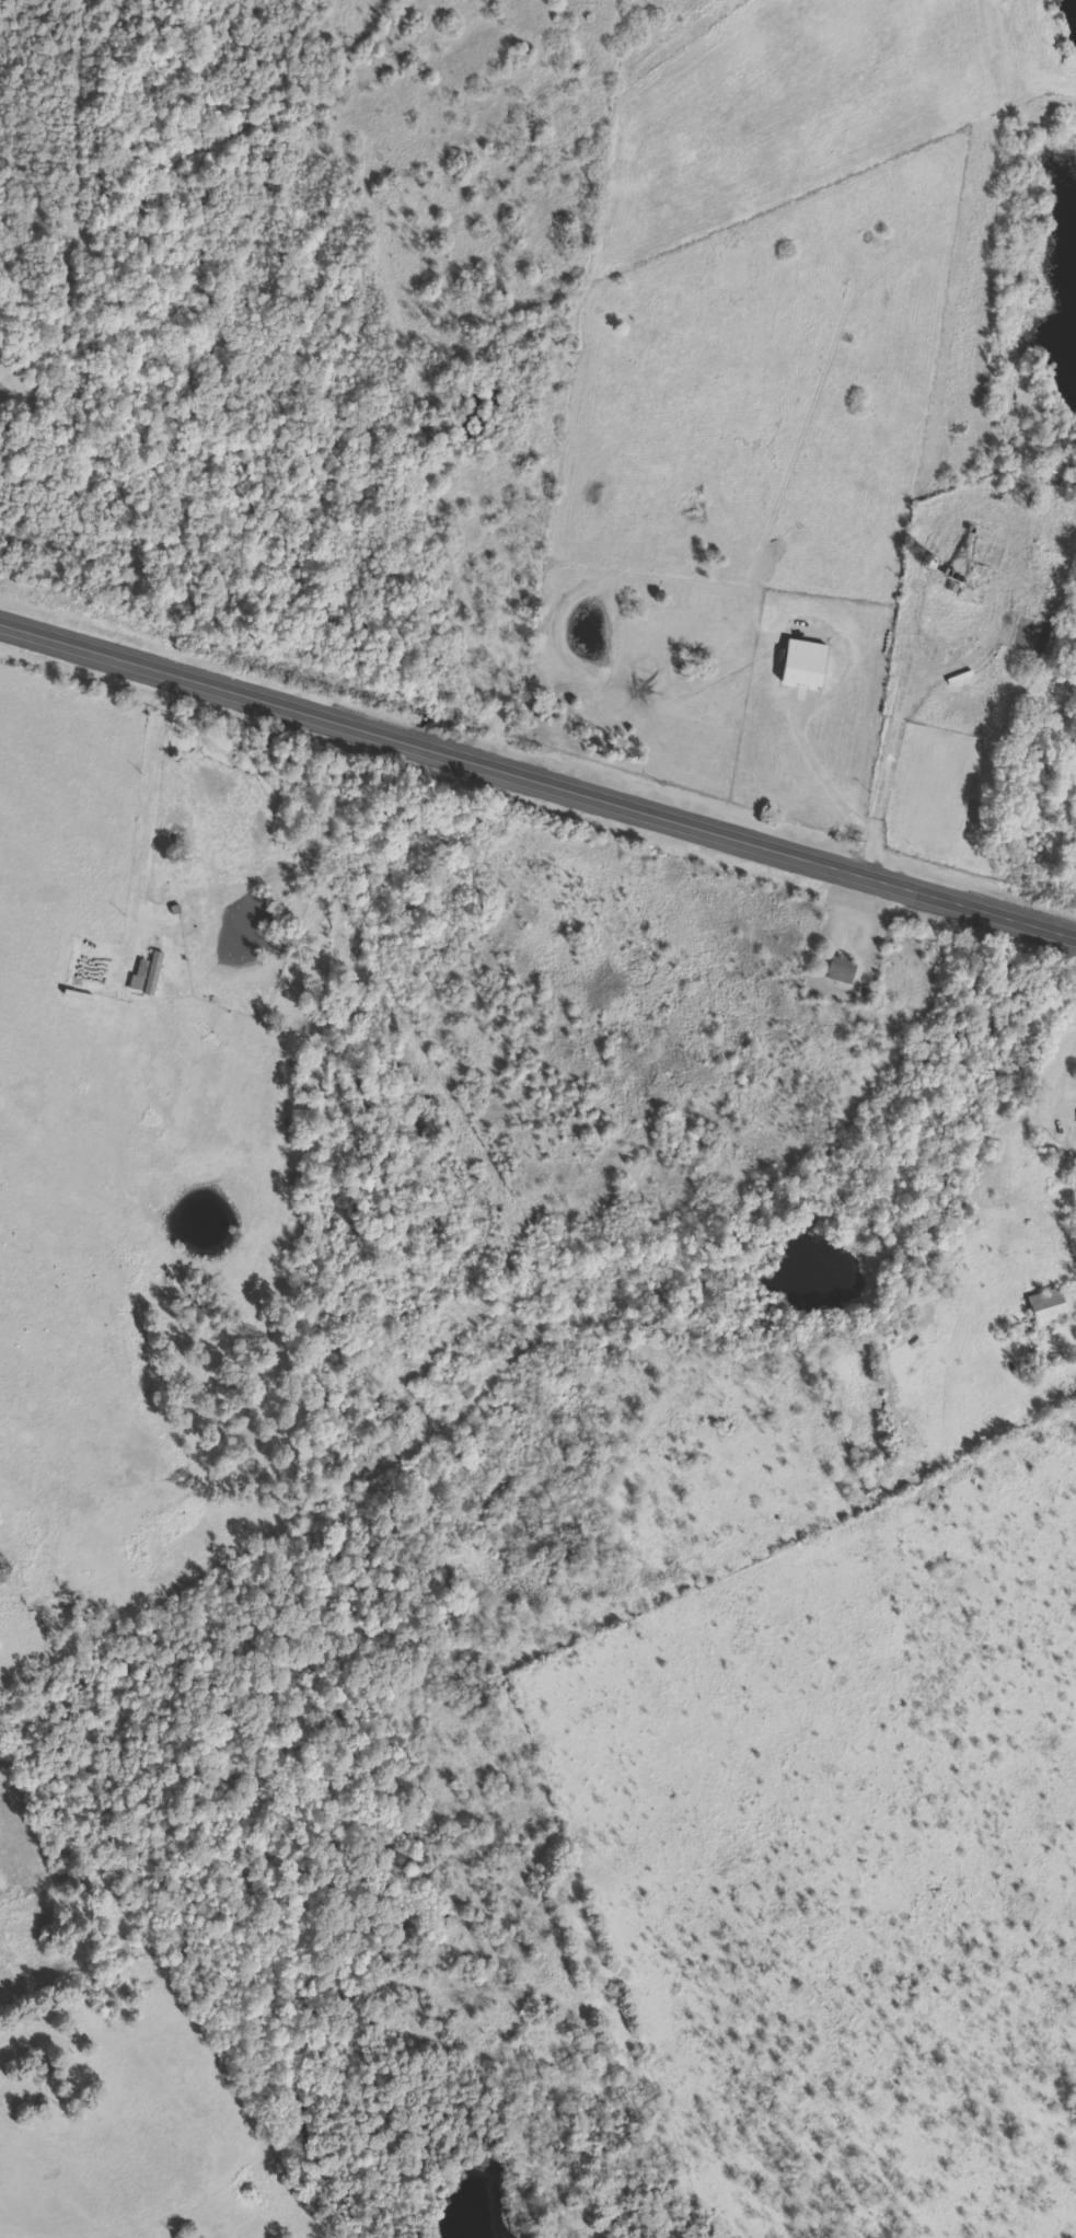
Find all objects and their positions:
building: (1020, 497)
building: (982, 532)
building: (971, 596)
building: (803, 665)
road: (537, 773)
building: (843, 969)
building: (141, 976)
building: (868, 994)
building: (1050, 1307)

